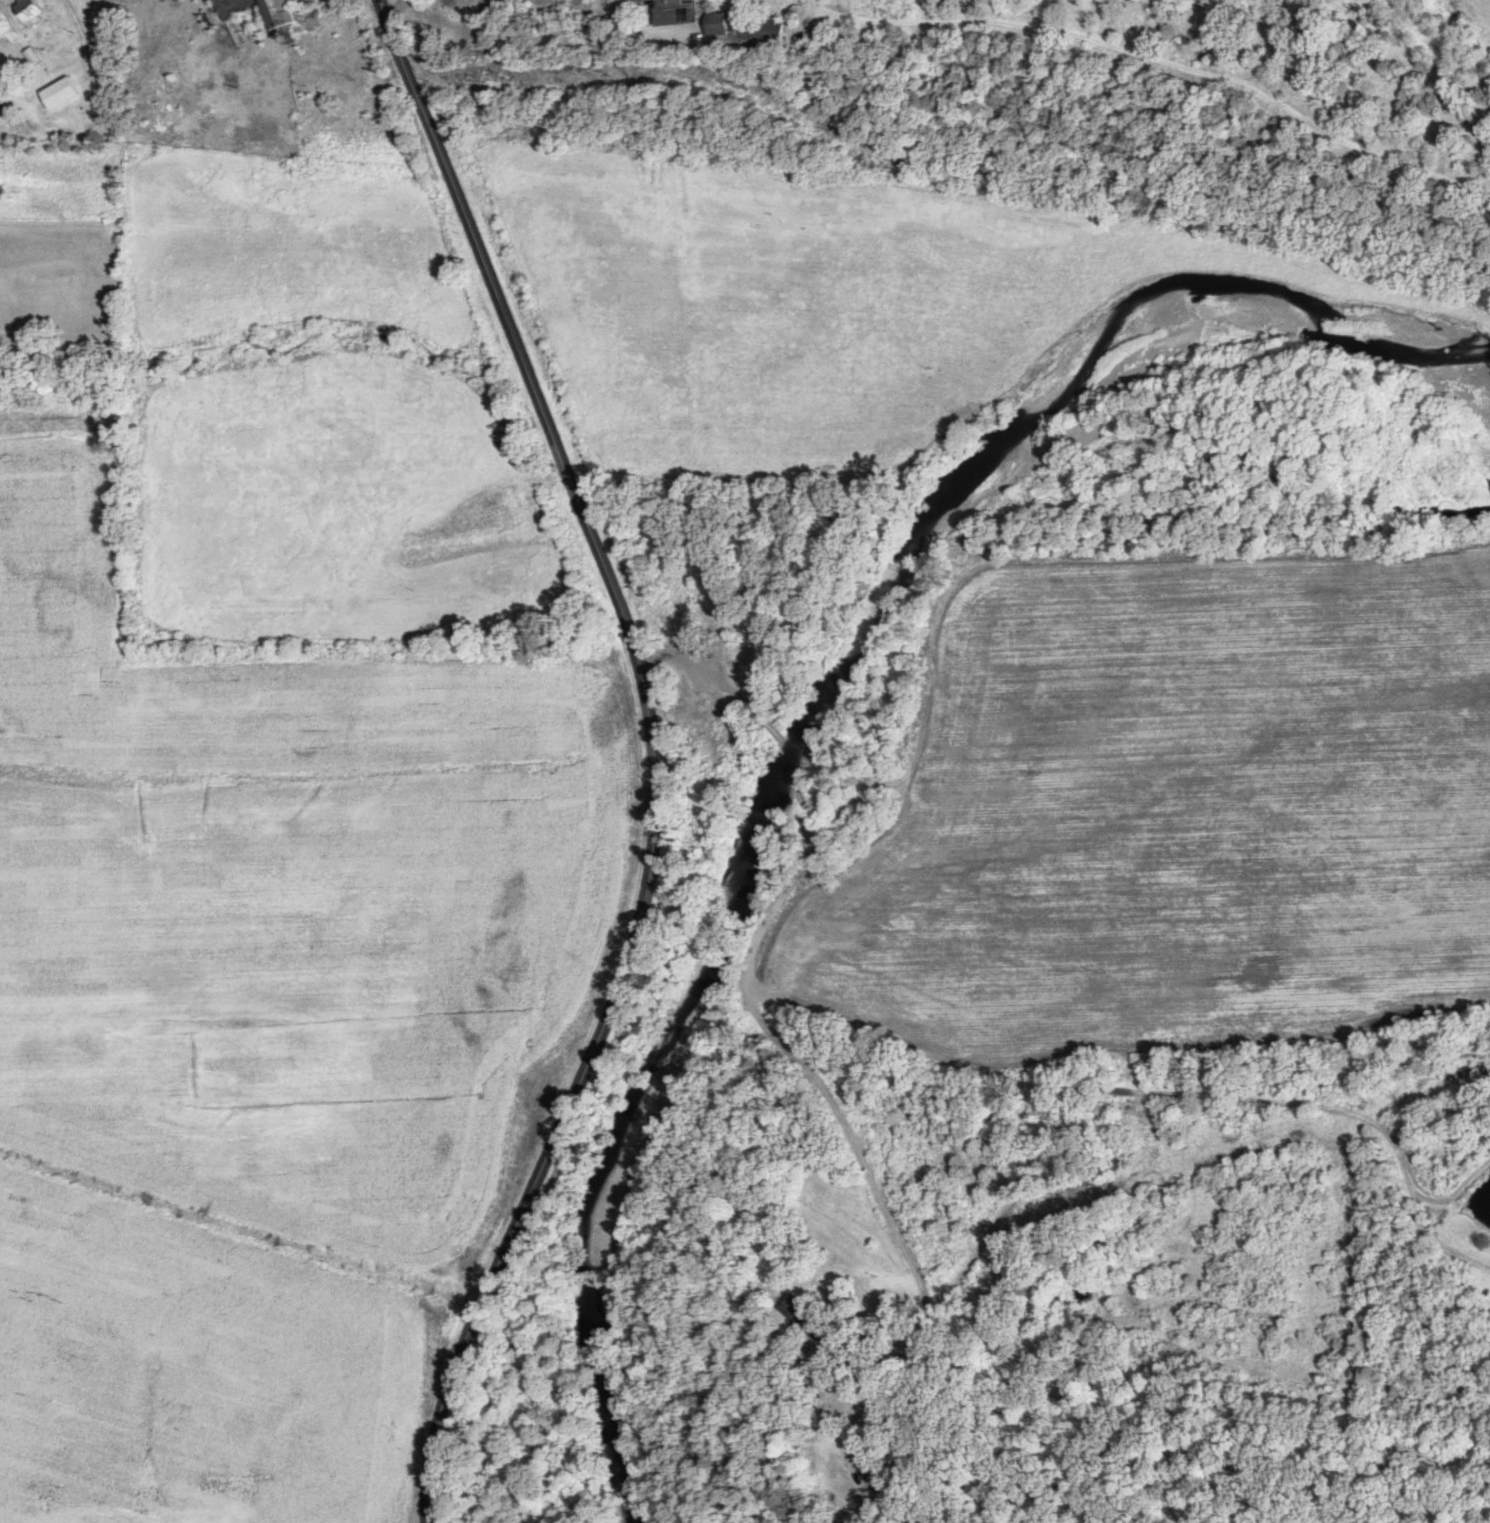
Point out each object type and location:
building: (327, 5)
building: (26, 12)
building: (667, 12)
building: (274, 16)
building: (740, 29)
road: (514, 60)
building: (56, 94)
road: (724, 754)
road: (653, 756)
road: (774, 905)
road: (917, 1054)
road: (1128, 1094)
building: (803, 1320)
building: (881, 1454)

